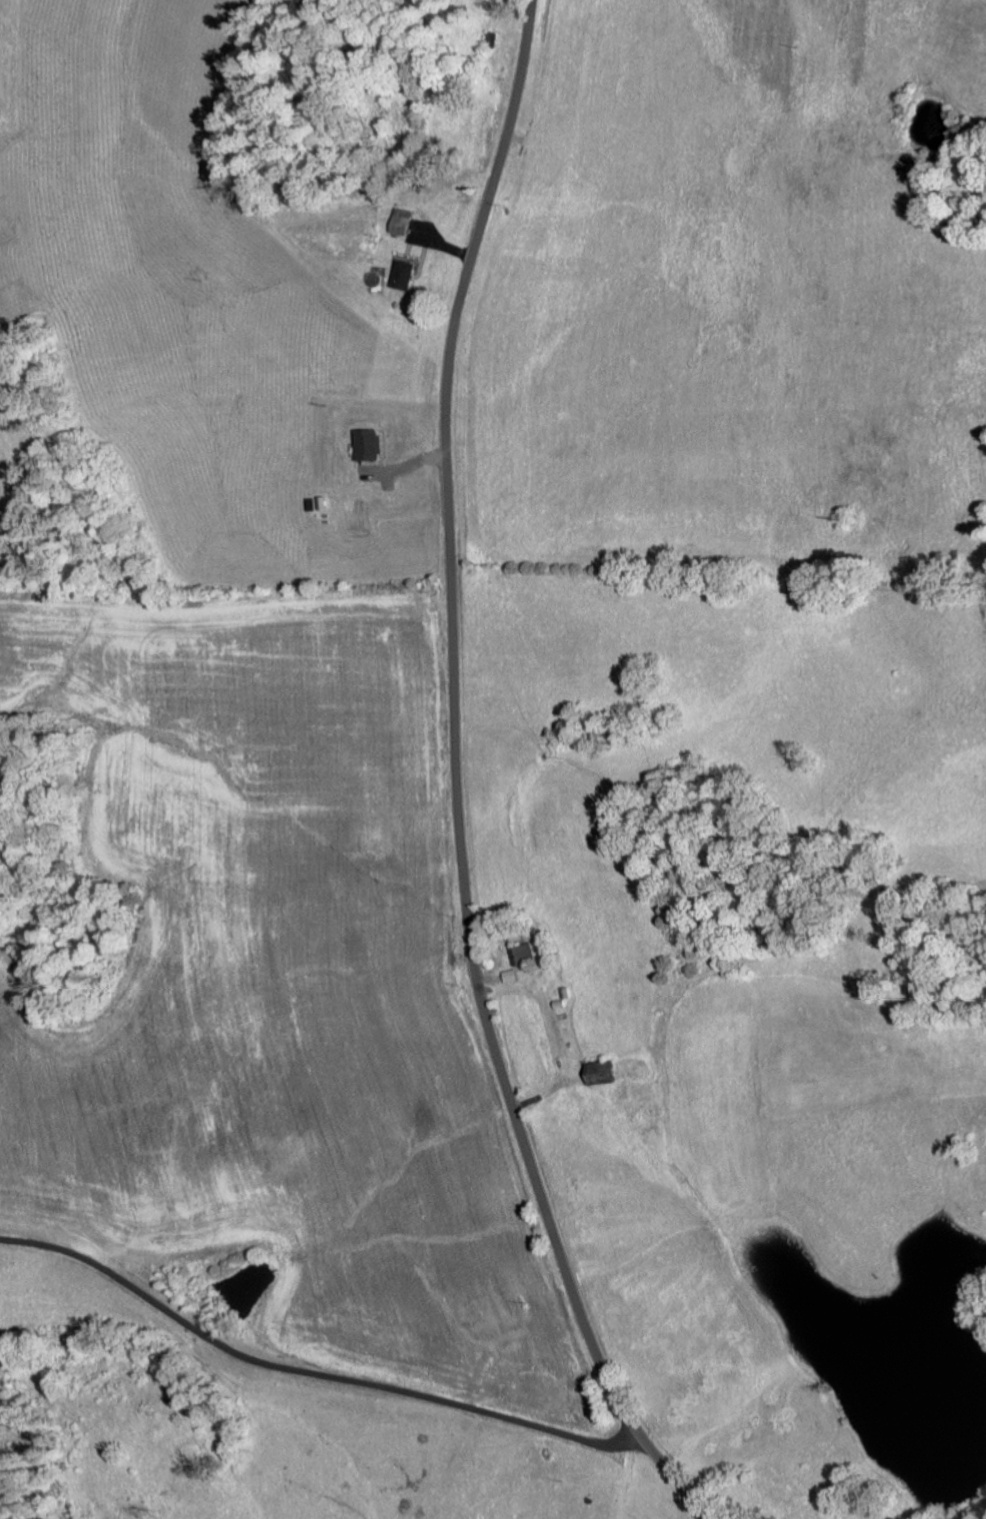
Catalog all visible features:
building: (401, 221)
building: (406, 274)
building: (370, 445)
road: (460, 785)
building: (525, 954)
building: (512, 976)
building: (602, 1073)
road: (313, 1375)

